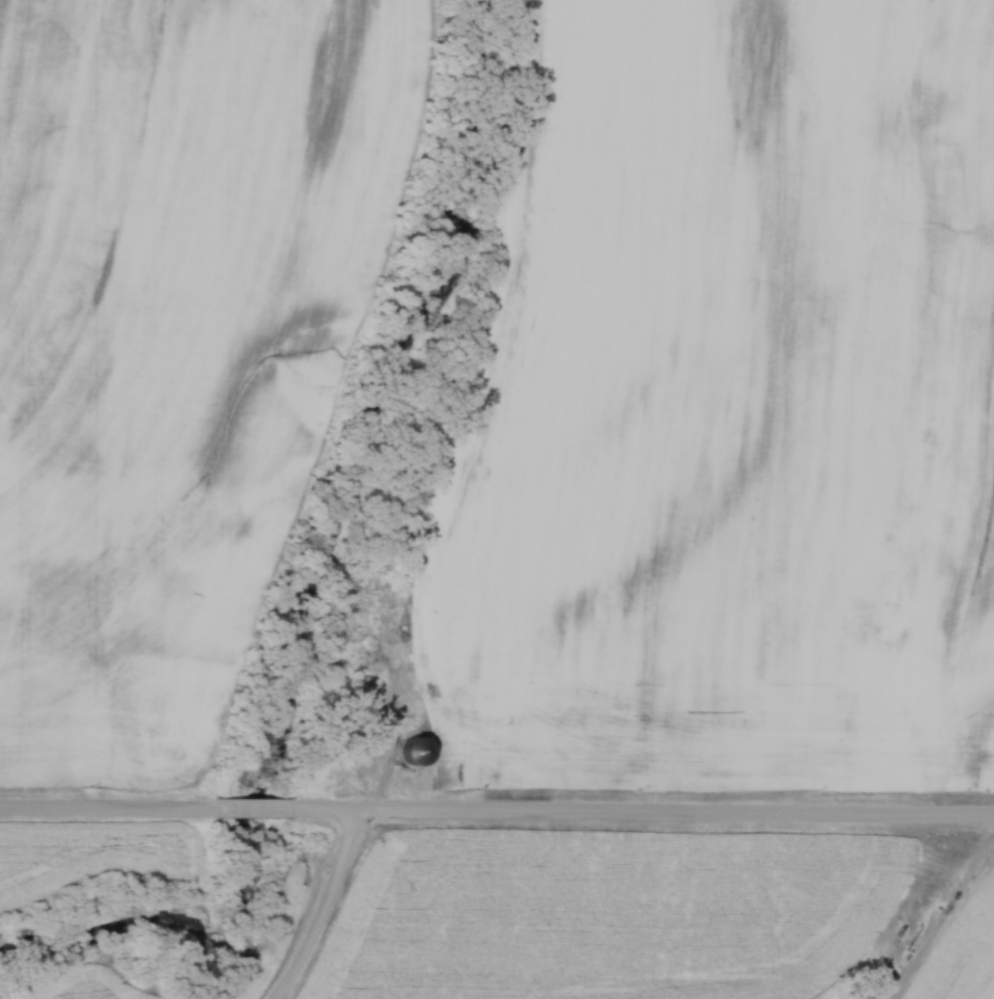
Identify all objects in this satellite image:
building: (410, 750)
road: (106, 803)
road: (247, 805)
road: (637, 809)
road: (327, 906)
road: (942, 919)

